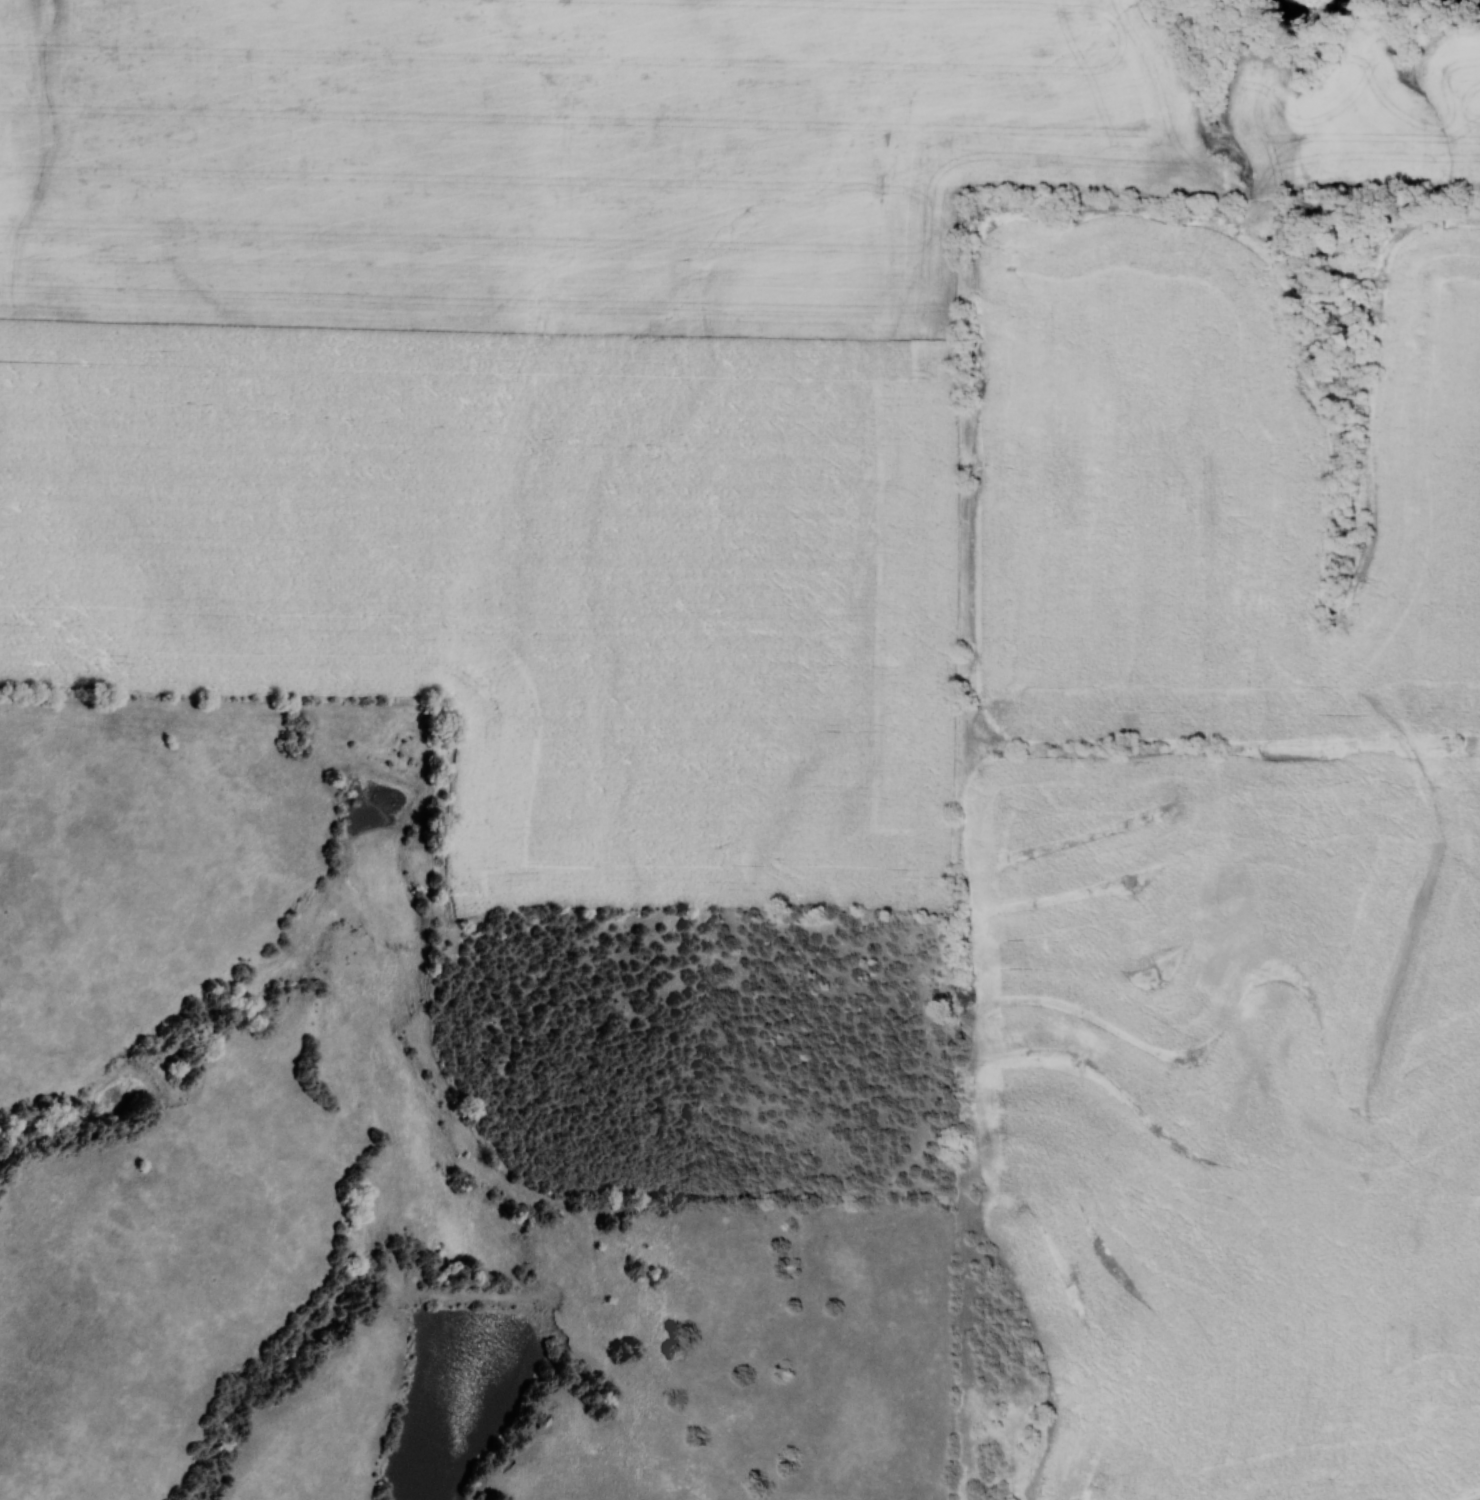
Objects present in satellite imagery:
river: (1457, 6)
river: (1328, 9)

